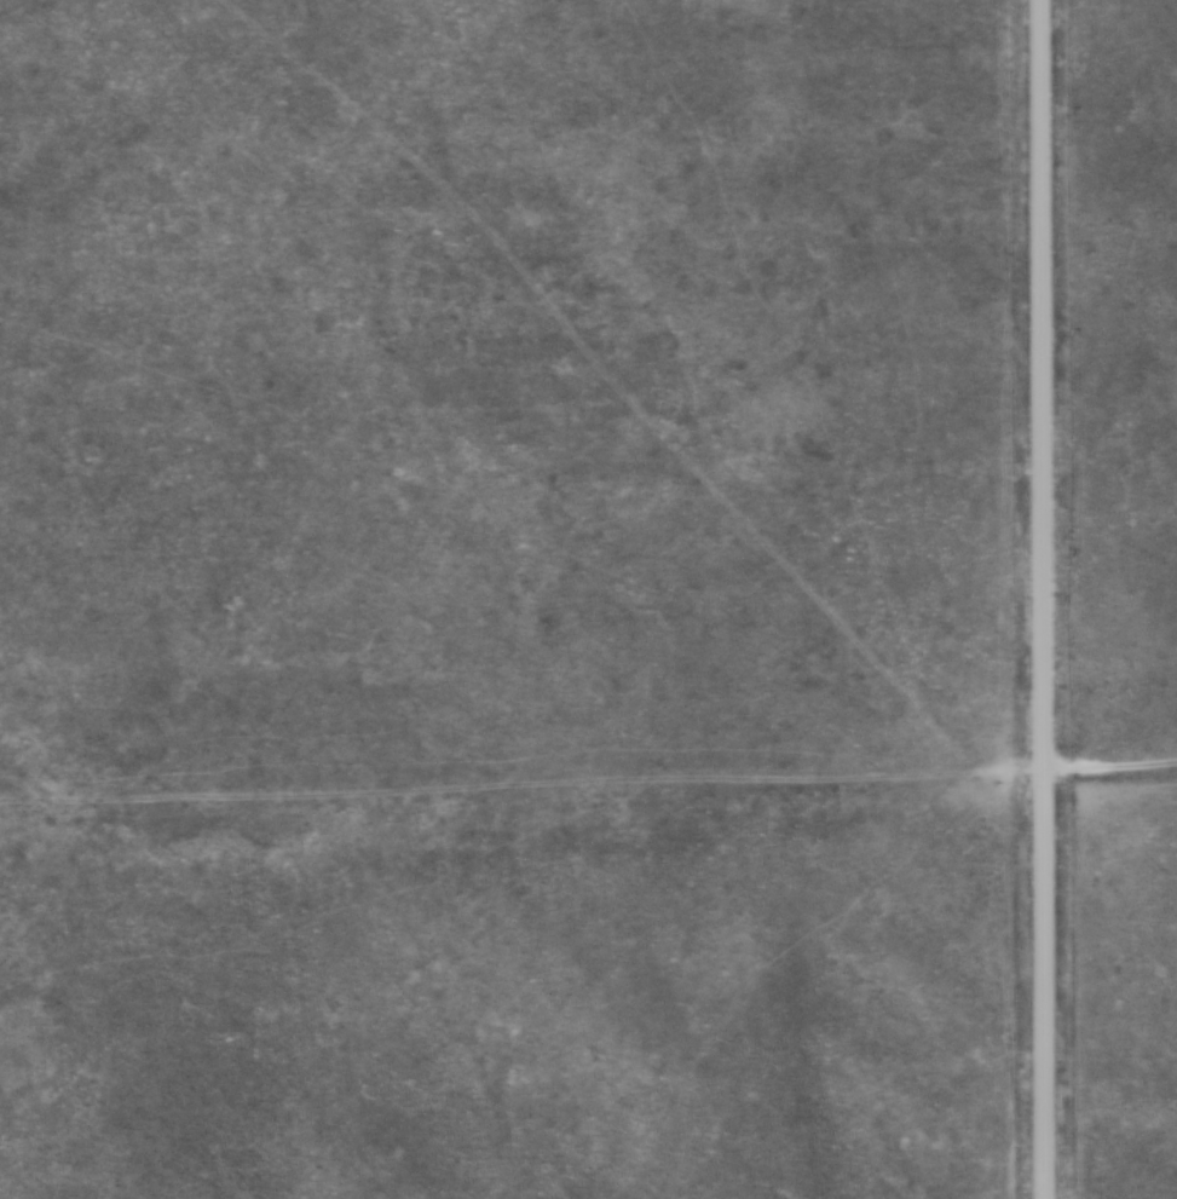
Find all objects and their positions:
road: (1042, 599)

